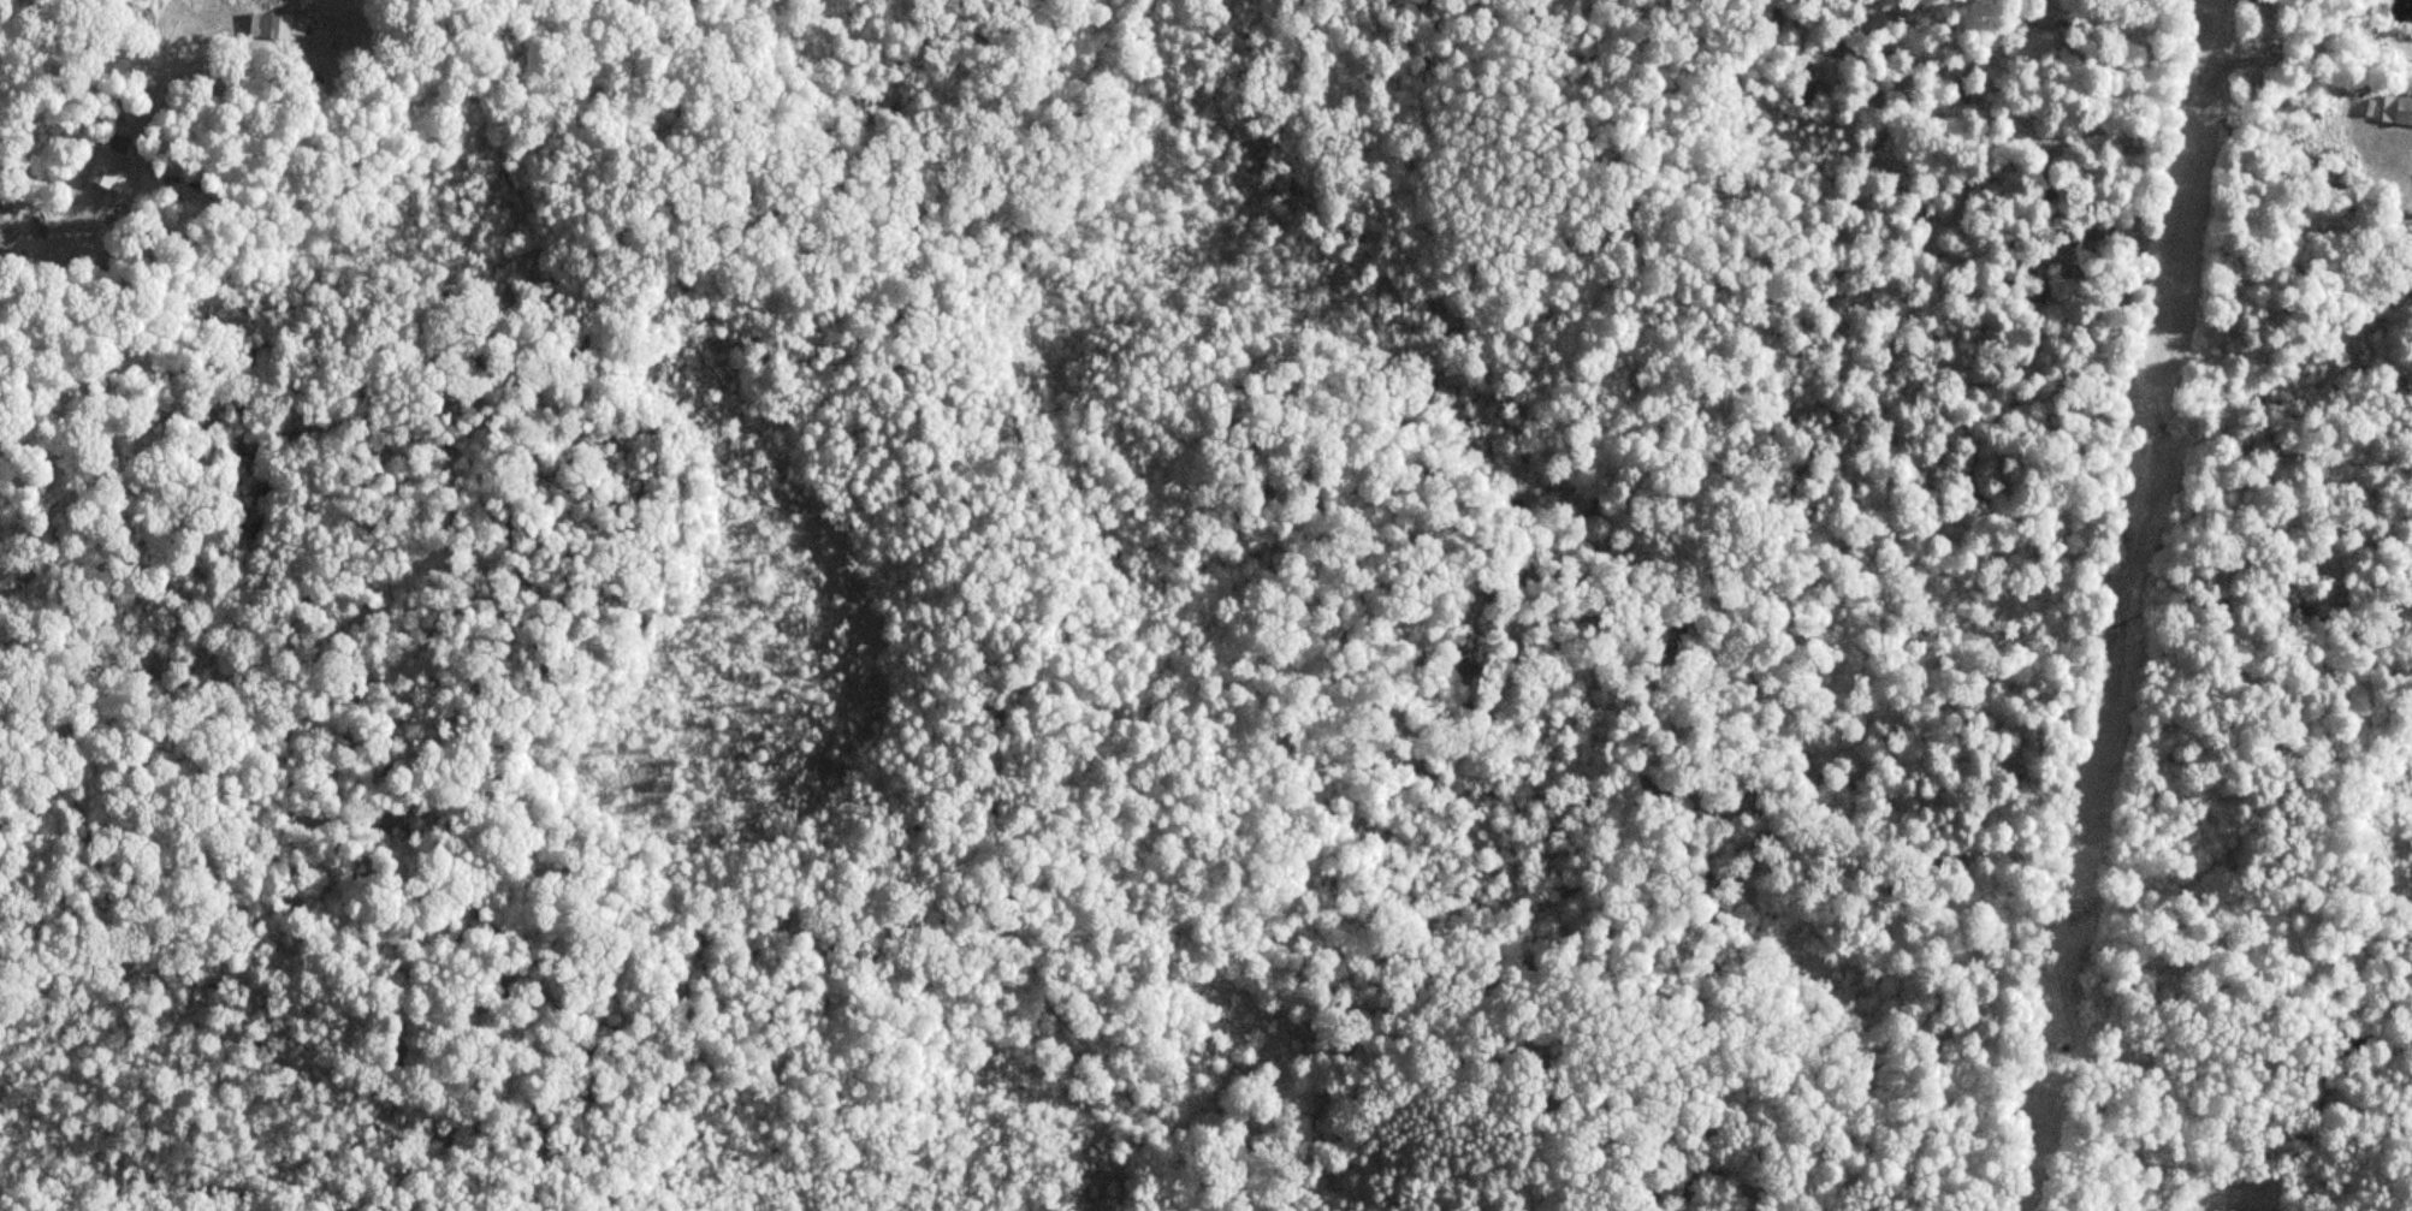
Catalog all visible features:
building: (2402, 113)
building: (108, 160)
building: (5, 233)

